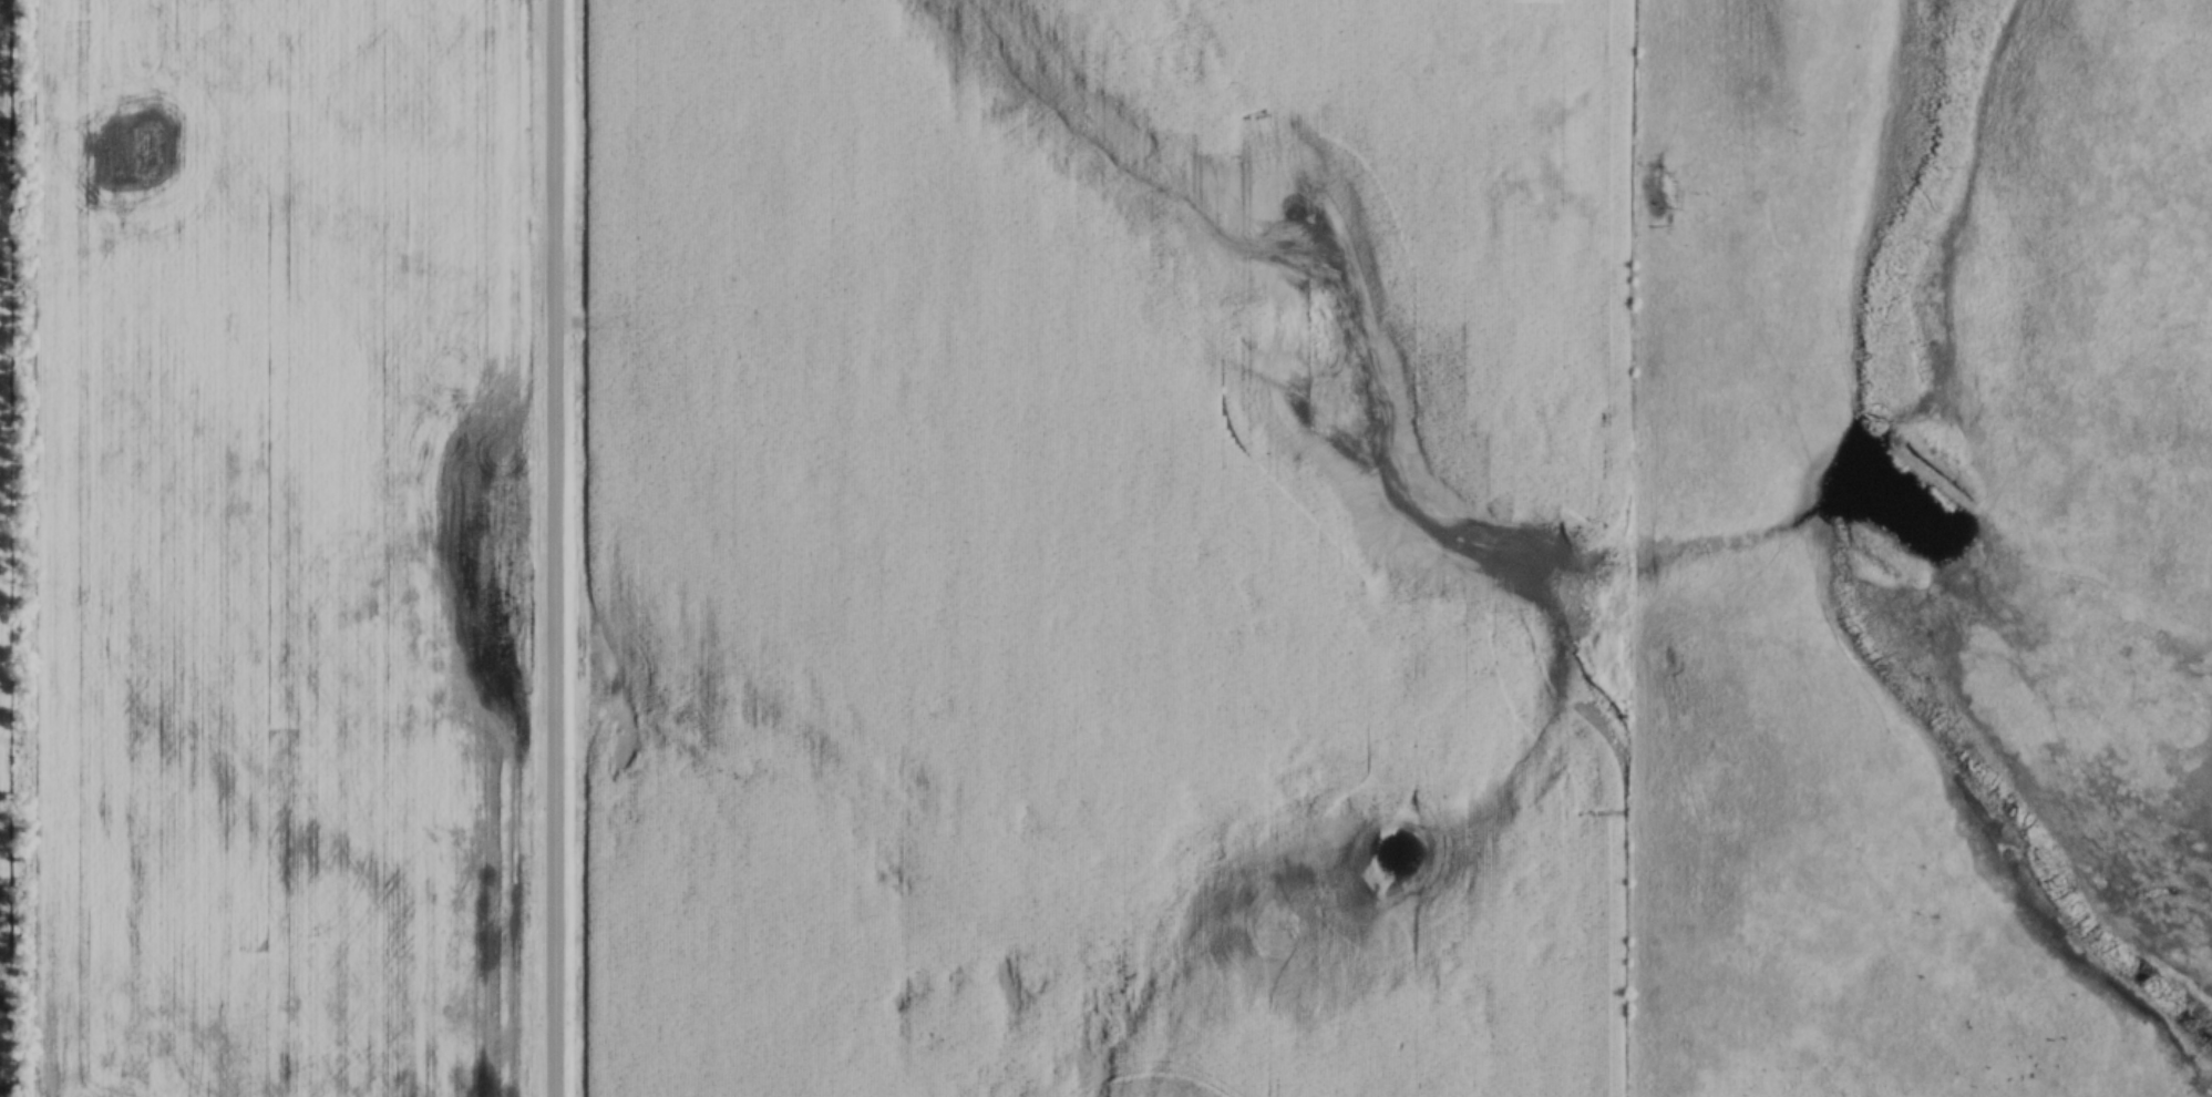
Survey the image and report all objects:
road: (555, 548)

